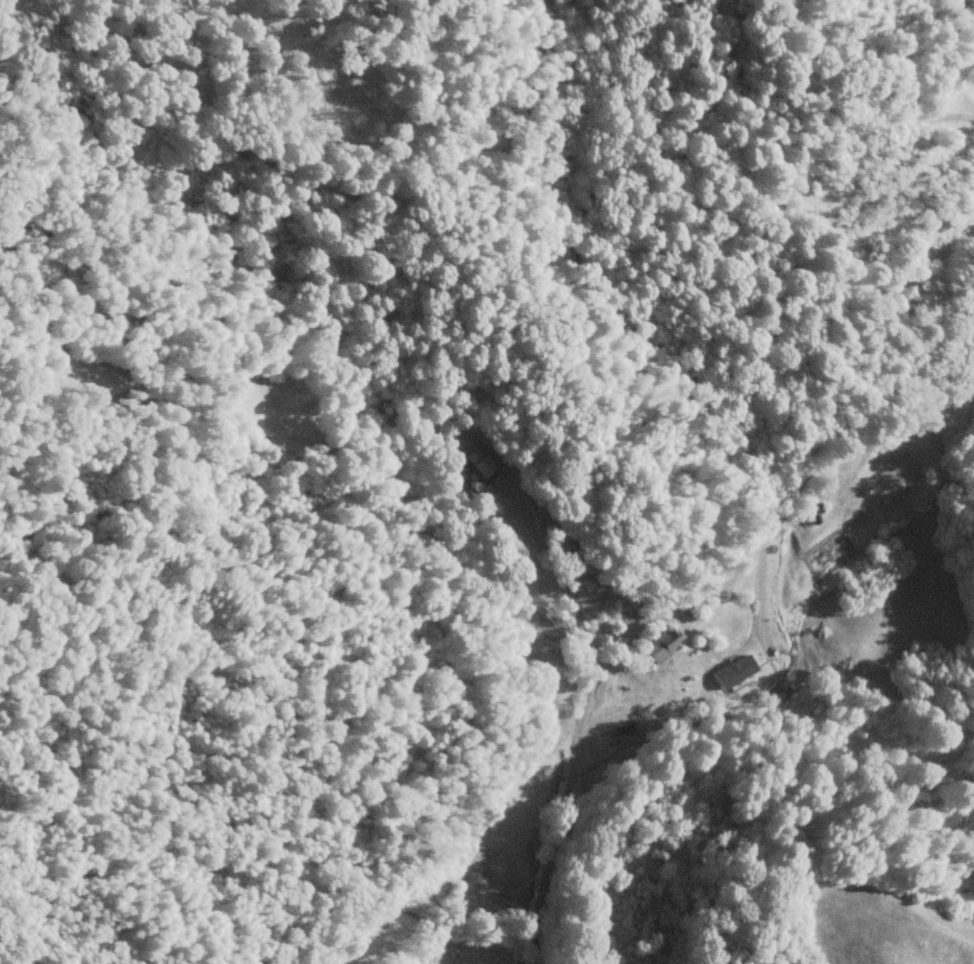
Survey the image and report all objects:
road: (671, 586)

